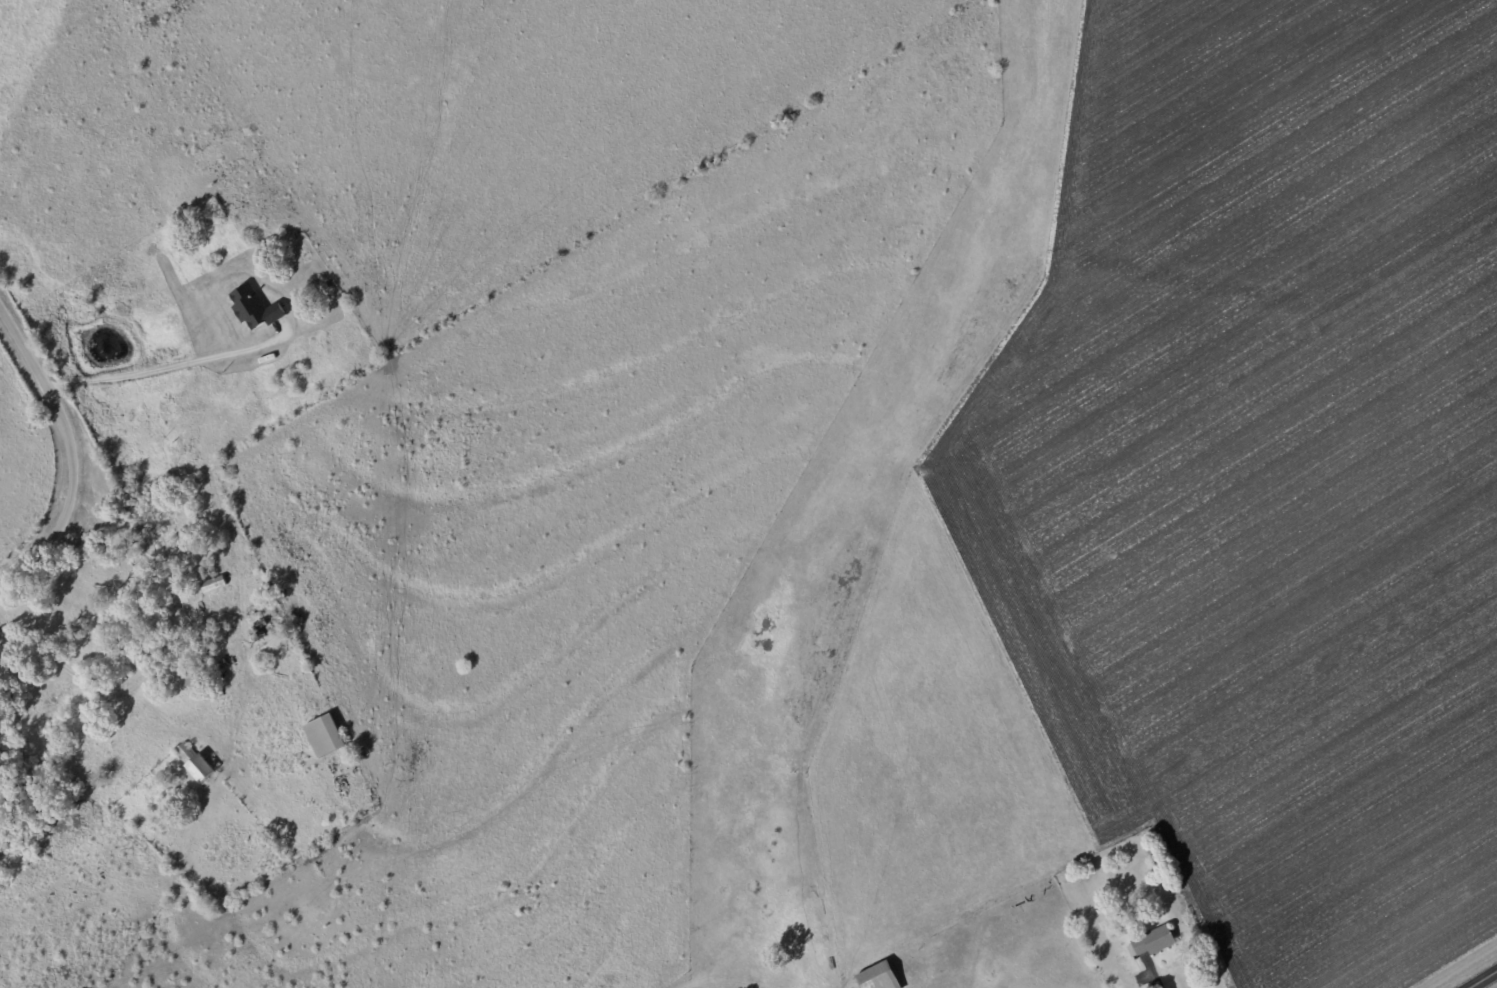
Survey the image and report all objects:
building: (256, 307)
road: (161, 364)
road: (72, 454)
building: (214, 583)
road: (85, 674)
building: (329, 735)
building: (186, 752)
building: (204, 769)
building: (1151, 940)
road: (1159, 974)
building: (875, 976)
road: (1489, 983)

